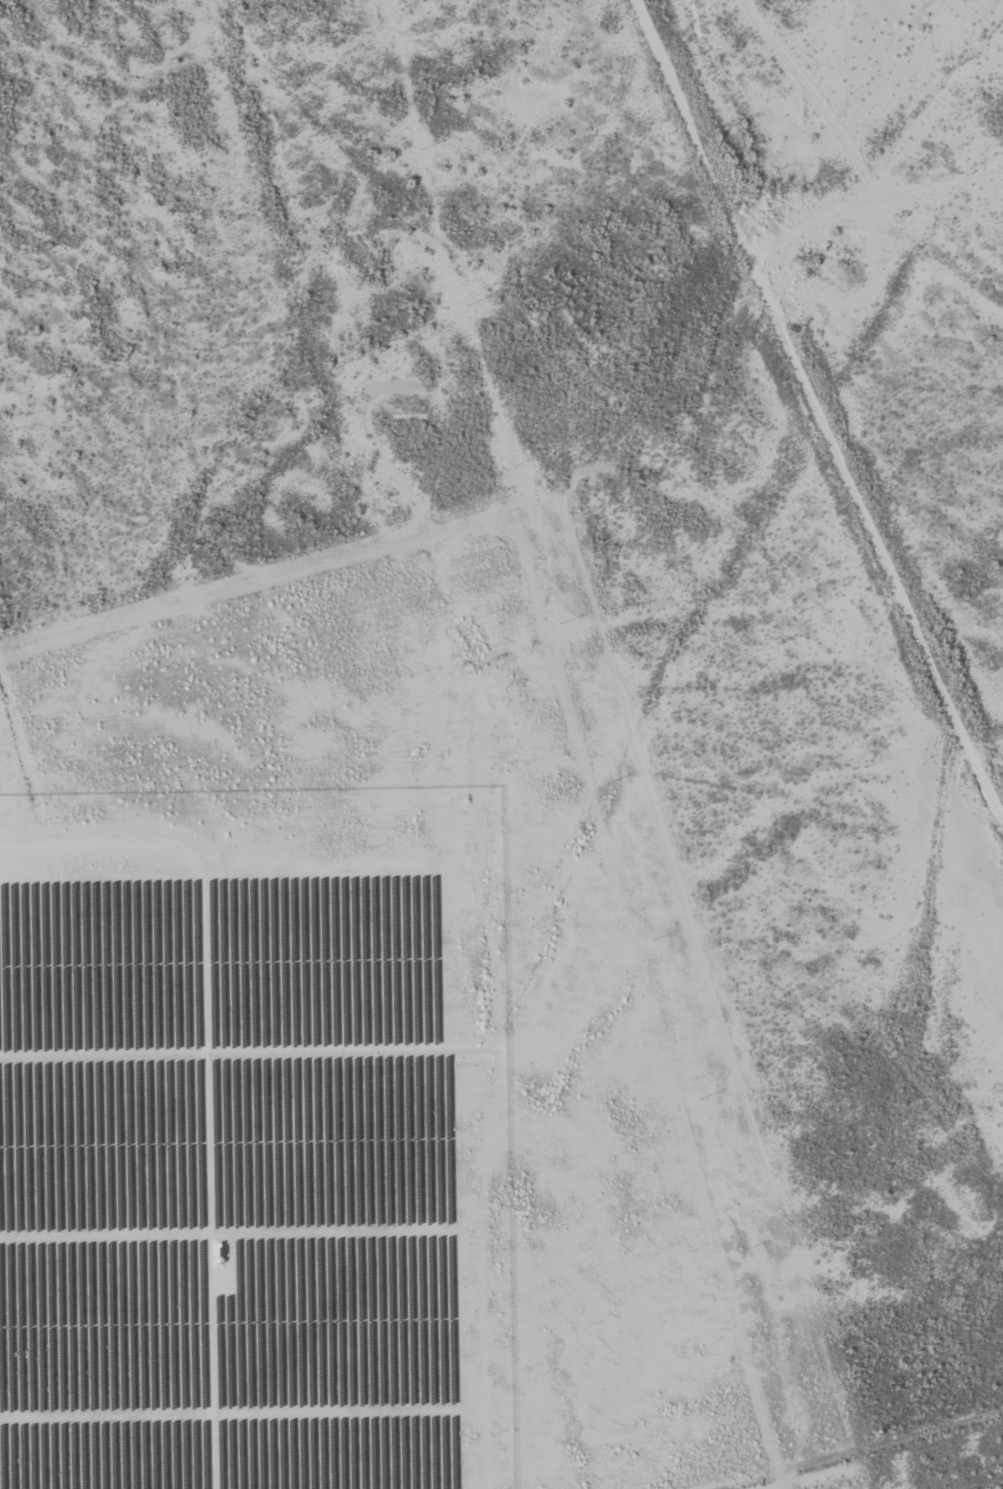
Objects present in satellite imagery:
road: (873, 201)
road: (820, 405)

